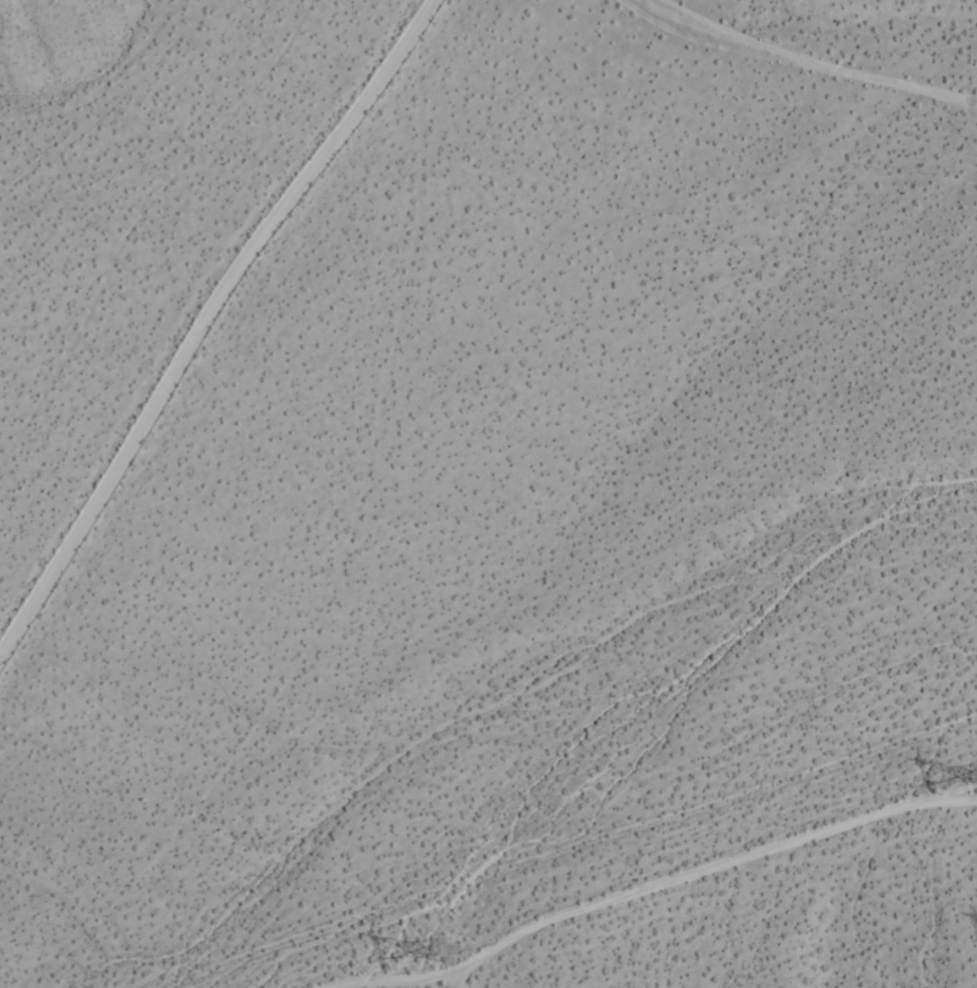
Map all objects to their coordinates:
road: (811, 53)
road: (199, 312)
power tower: (452, 951)

